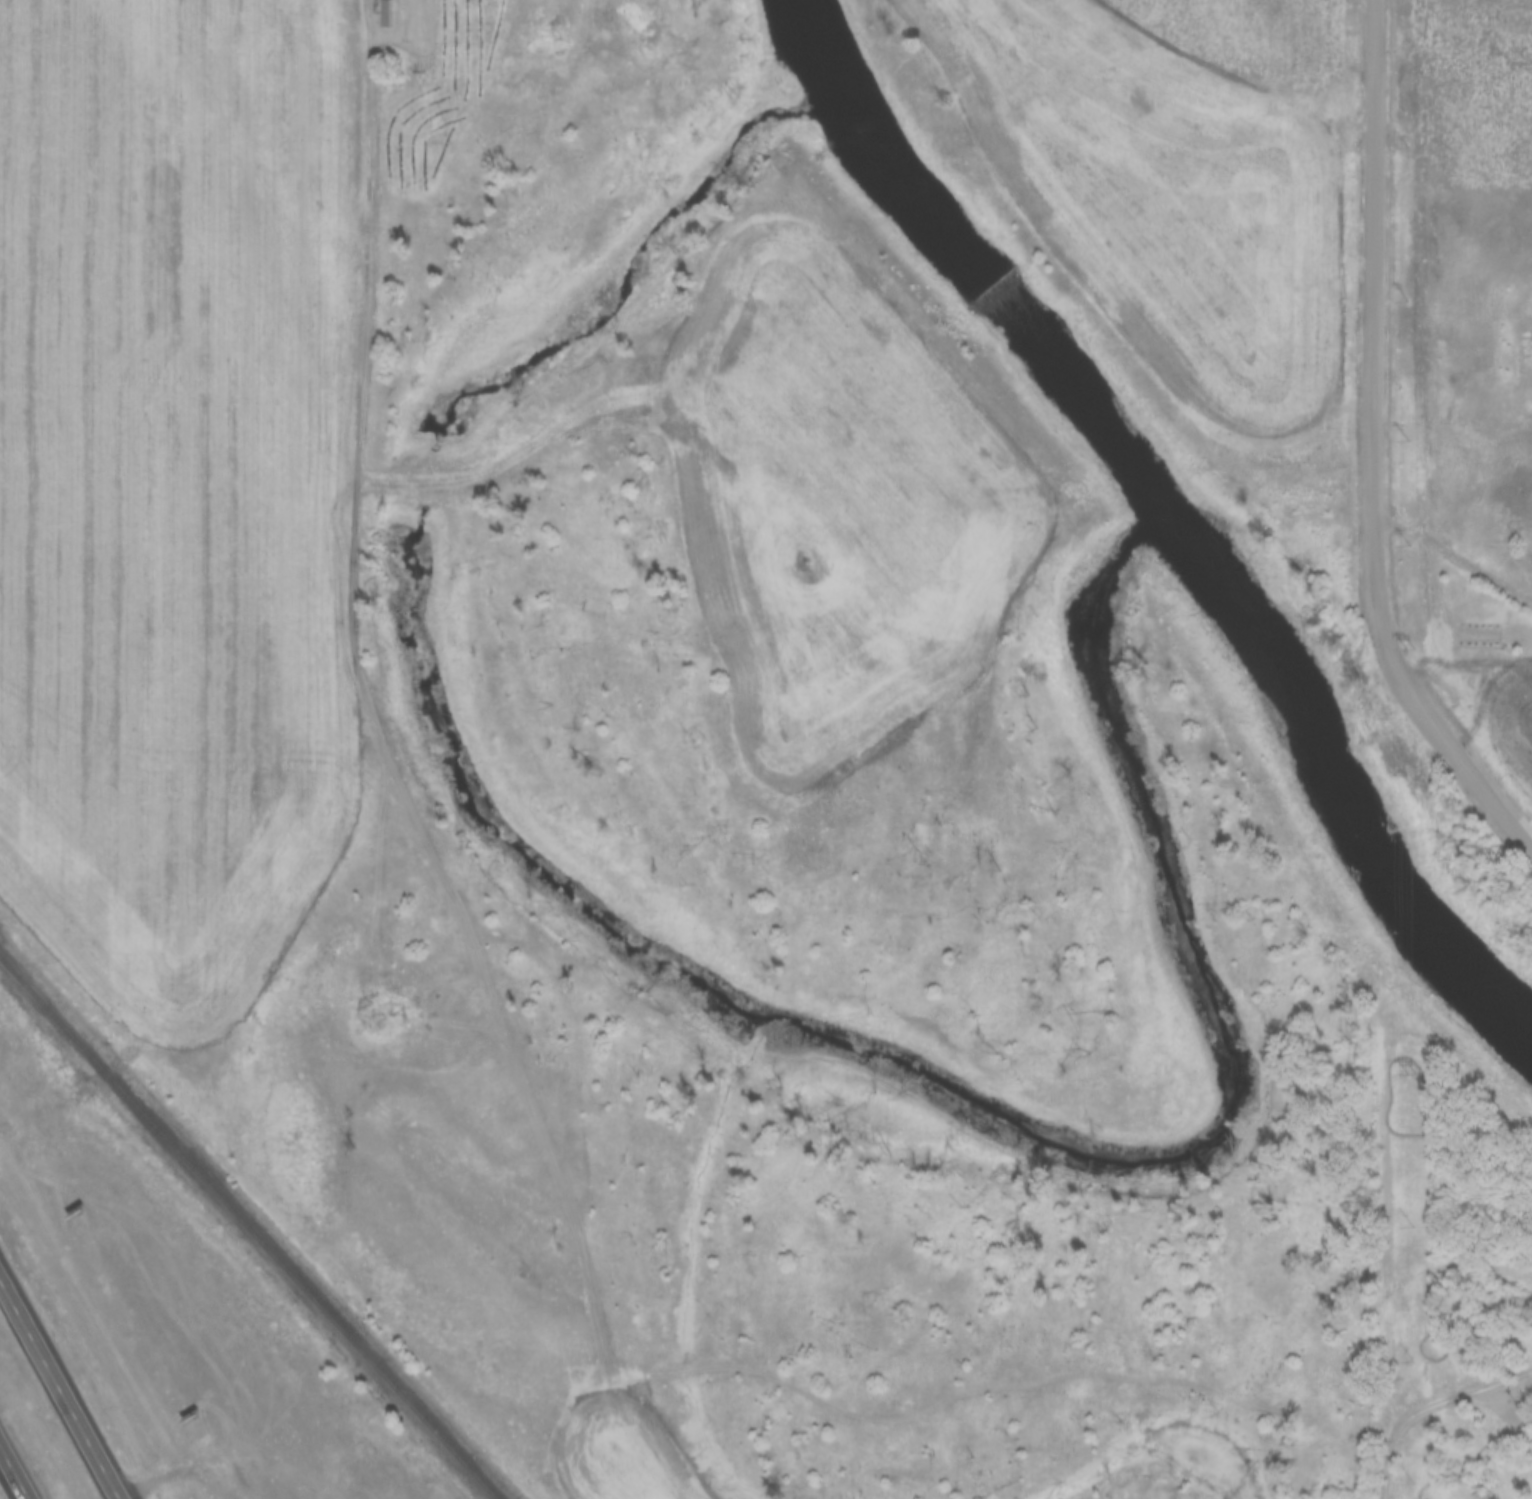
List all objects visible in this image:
building: (382, 13)
road: (1375, 361)
river: (1175, 516)
road: (1456, 553)
road: (1478, 782)
road: (81, 1097)
road: (1426, 1145)
railway: (248, 1228)
park: (1430, 1251)
road: (61, 1385)
road: (1453, 1394)
road: (1421, 1444)
road: (16, 1468)
road: (1383, 1468)
road: (1530, 1488)
road: (1416, 1498)

